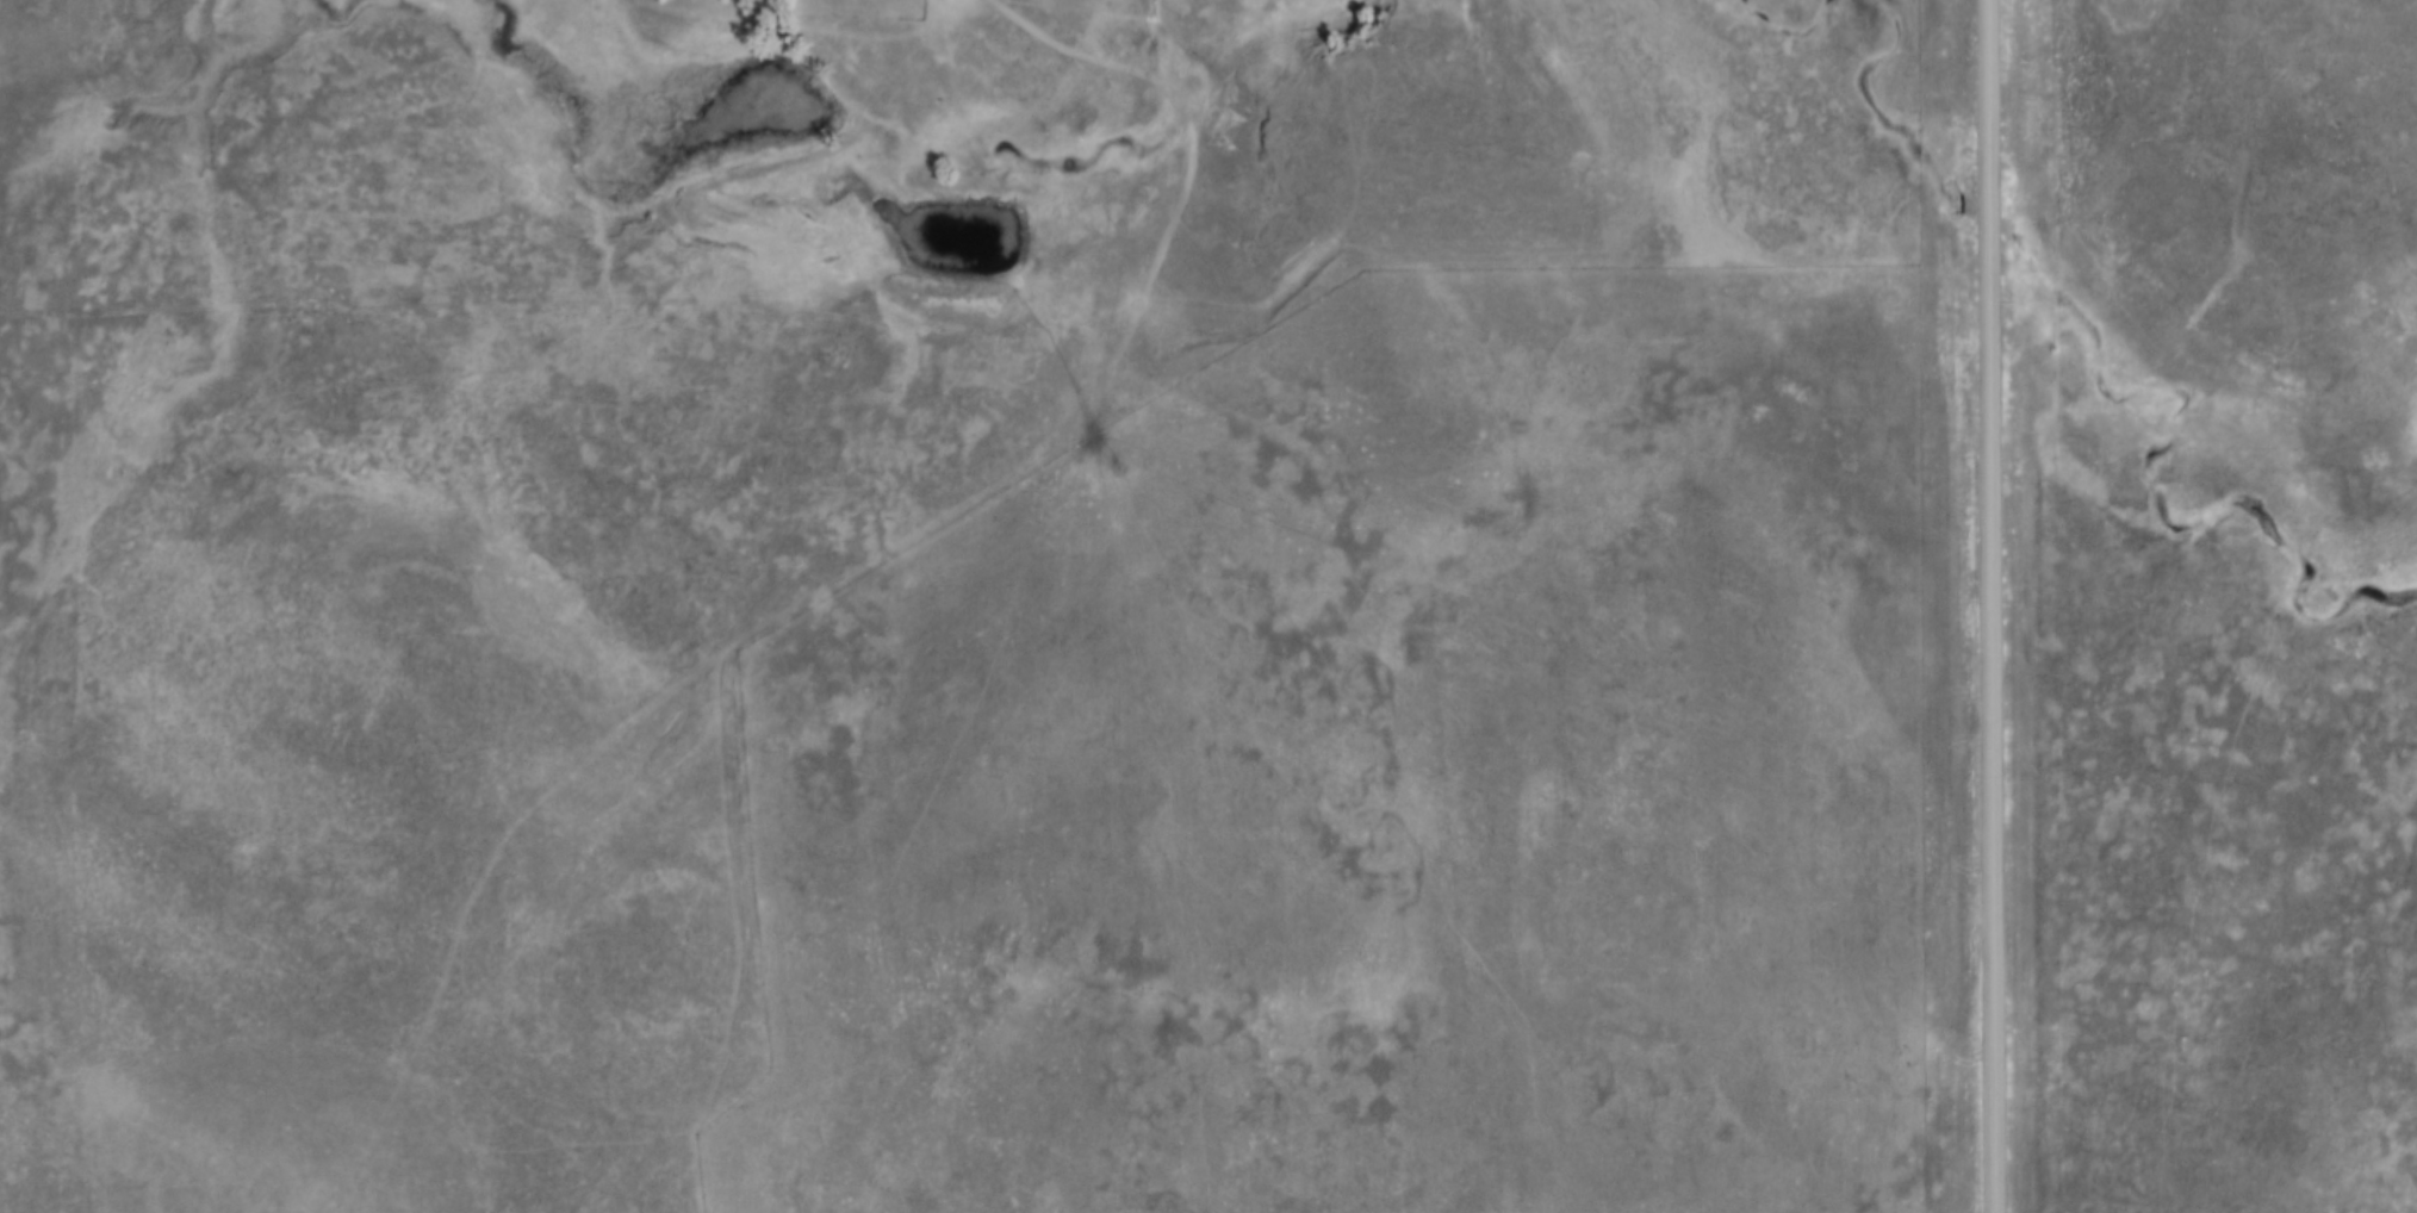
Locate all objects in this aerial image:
road: (1191, 135)
road: (1992, 605)

